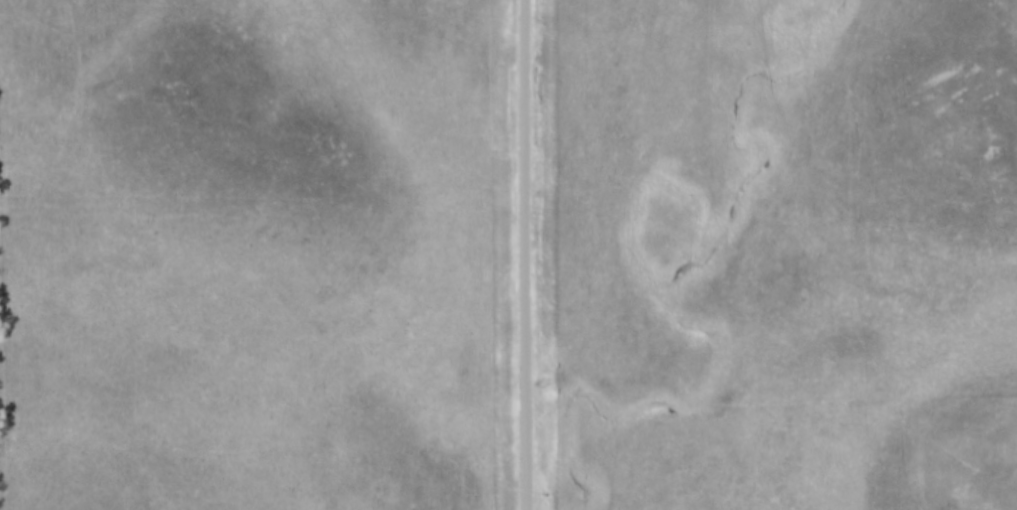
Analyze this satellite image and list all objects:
road: (526, 255)

